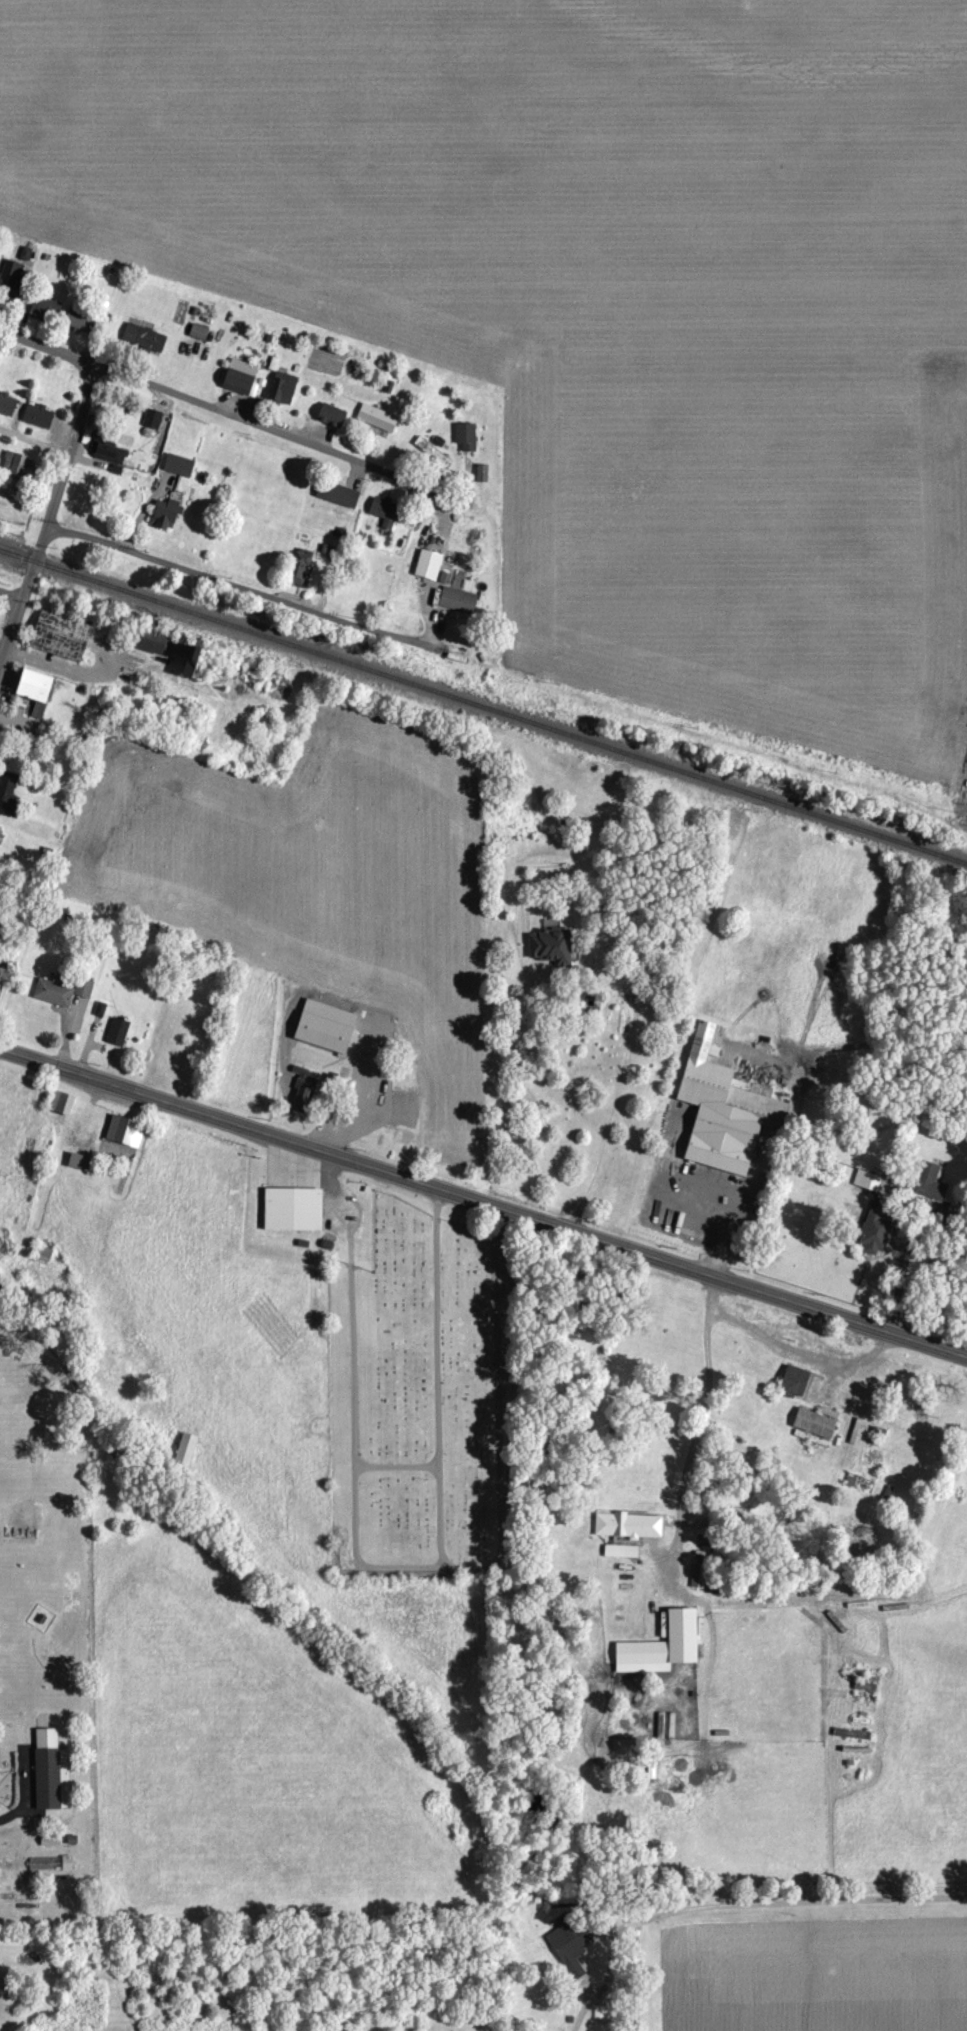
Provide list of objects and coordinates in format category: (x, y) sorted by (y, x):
building: (8, 273)
building: (43, 306)
building: (73, 318)
building: (196, 330)
building: (140, 336)
building: (235, 375)
building: (279, 387)
building: (5, 404)
road: (216, 406)
building: (35, 414)
building: (328, 414)
building: (374, 416)
building: (150, 418)
building: (464, 435)
road: (34, 442)
building: (12, 464)
building: (176, 464)
building: (479, 472)
building: (334, 493)
building: (383, 510)
building: (161, 512)
road: (50, 515)
building: (425, 563)
building: (297, 566)
road: (245, 585)
road: (11, 594)
building: (56, 635)
building: (145, 641)
building: (27, 687)
railway: (483, 705)
building: (5, 792)
building: (547, 944)
building: (59, 989)
building: (320, 1023)
building: (114, 1030)
building: (57, 1101)
building: (719, 1105)
road: (609, 1109)
building: (121, 1129)
building: (77, 1160)
building: (864, 1178)
building: (926, 1179)
road: (483, 1200)
road: (728, 1205)
building: (295, 1206)
road: (342, 1208)
building: (871, 1230)
road: (903, 1269)
park: (415, 1376)
building: (791, 1378)
building: (827, 1412)
road: (699, 1414)
building: (810, 1426)
building: (181, 1446)
road: (354, 1462)
road: (396, 1464)
building: (859, 1482)
building: (625, 1524)
building: (618, 1549)
road: (462, 1568)
building: (657, 1644)
building: (46, 1768)
building: (49, 1862)
road: (727, 1902)
building: (568, 1946)

